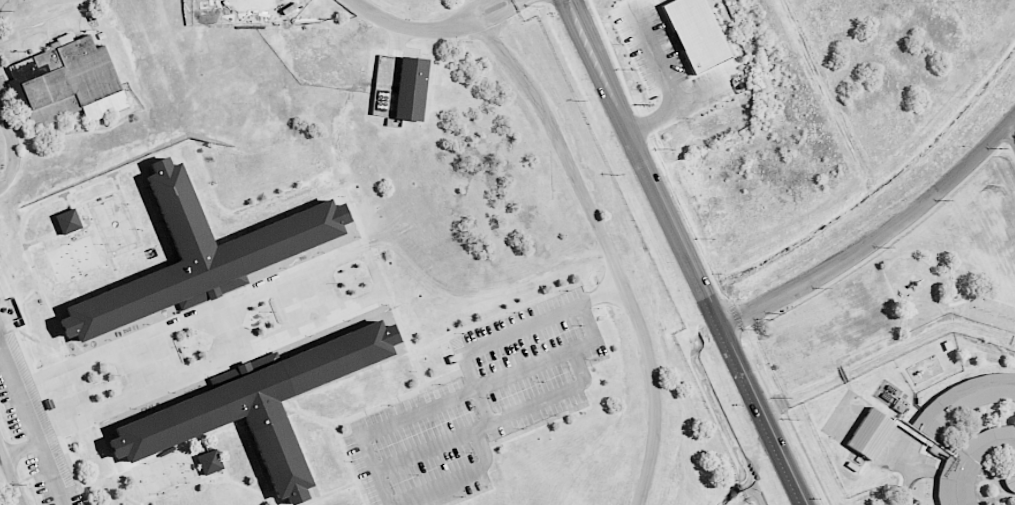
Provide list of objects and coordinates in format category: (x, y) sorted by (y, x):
road: (40, 26)
road: (430, 29)
building: (696, 33)
road: (395, 71)
building: (66, 83)
road: (670, 85)
building: (411, 88)
road: (5, 92)
road: (1012, 129)
road: (12, 150)
road: (163, 153)
road: (647, 166)
road: (138, 168)
road: (145, 178)
road: (54, 199)
building: (68, 221)
road: (132, 223)
road: (96, 224)
park: (114, 224)
road: (98, 228)
road: (42, 238)
road: (879, 238)
road: (607, 248)
park: (74, 257)
building: (197, 257)
road: (161, 265)
road: (539, 303)
road: (497, 317)
road: (400, 325)
road: (259, 337)
road: (609, 357)
road: (597, 360)
road: (417, 368)
road: (461, 368)
road: (344, 375)
parking lot: (17, 386)
road: (479, 397)
road: (42, 399)
road: (397, 399)
road: (293, 400)
building: (258, 404)
parking lot: (477, 404)
road: (431, 406)
road: (589, 406)
road: (307, 414)
road: (765, 419)
road: (33, 422)
road: (538, 424)
building: (870, 434)
road: (103, 436)
building: (971, 444)
road: (178, 445)
road: (432, 446)
road: (21, 448)
road: (299, 449)
road: (190, 452)
road: (256, 456)
road: (192, 461)
building: (209, 462)
road: (351, 465)
road: (903, 471)
park: (166, 472)
road: (10, 478)
parking lot: (53, 478)
road: (457, 479)
road: (359, 481)
road: (140, 482)
road: (266, 482)
road: (487, 485)
road: (341, 486)
road: (167, 493)
road: (273, 493)
road: (329, 493)
road: (469, 495)
road: (275, 499)

